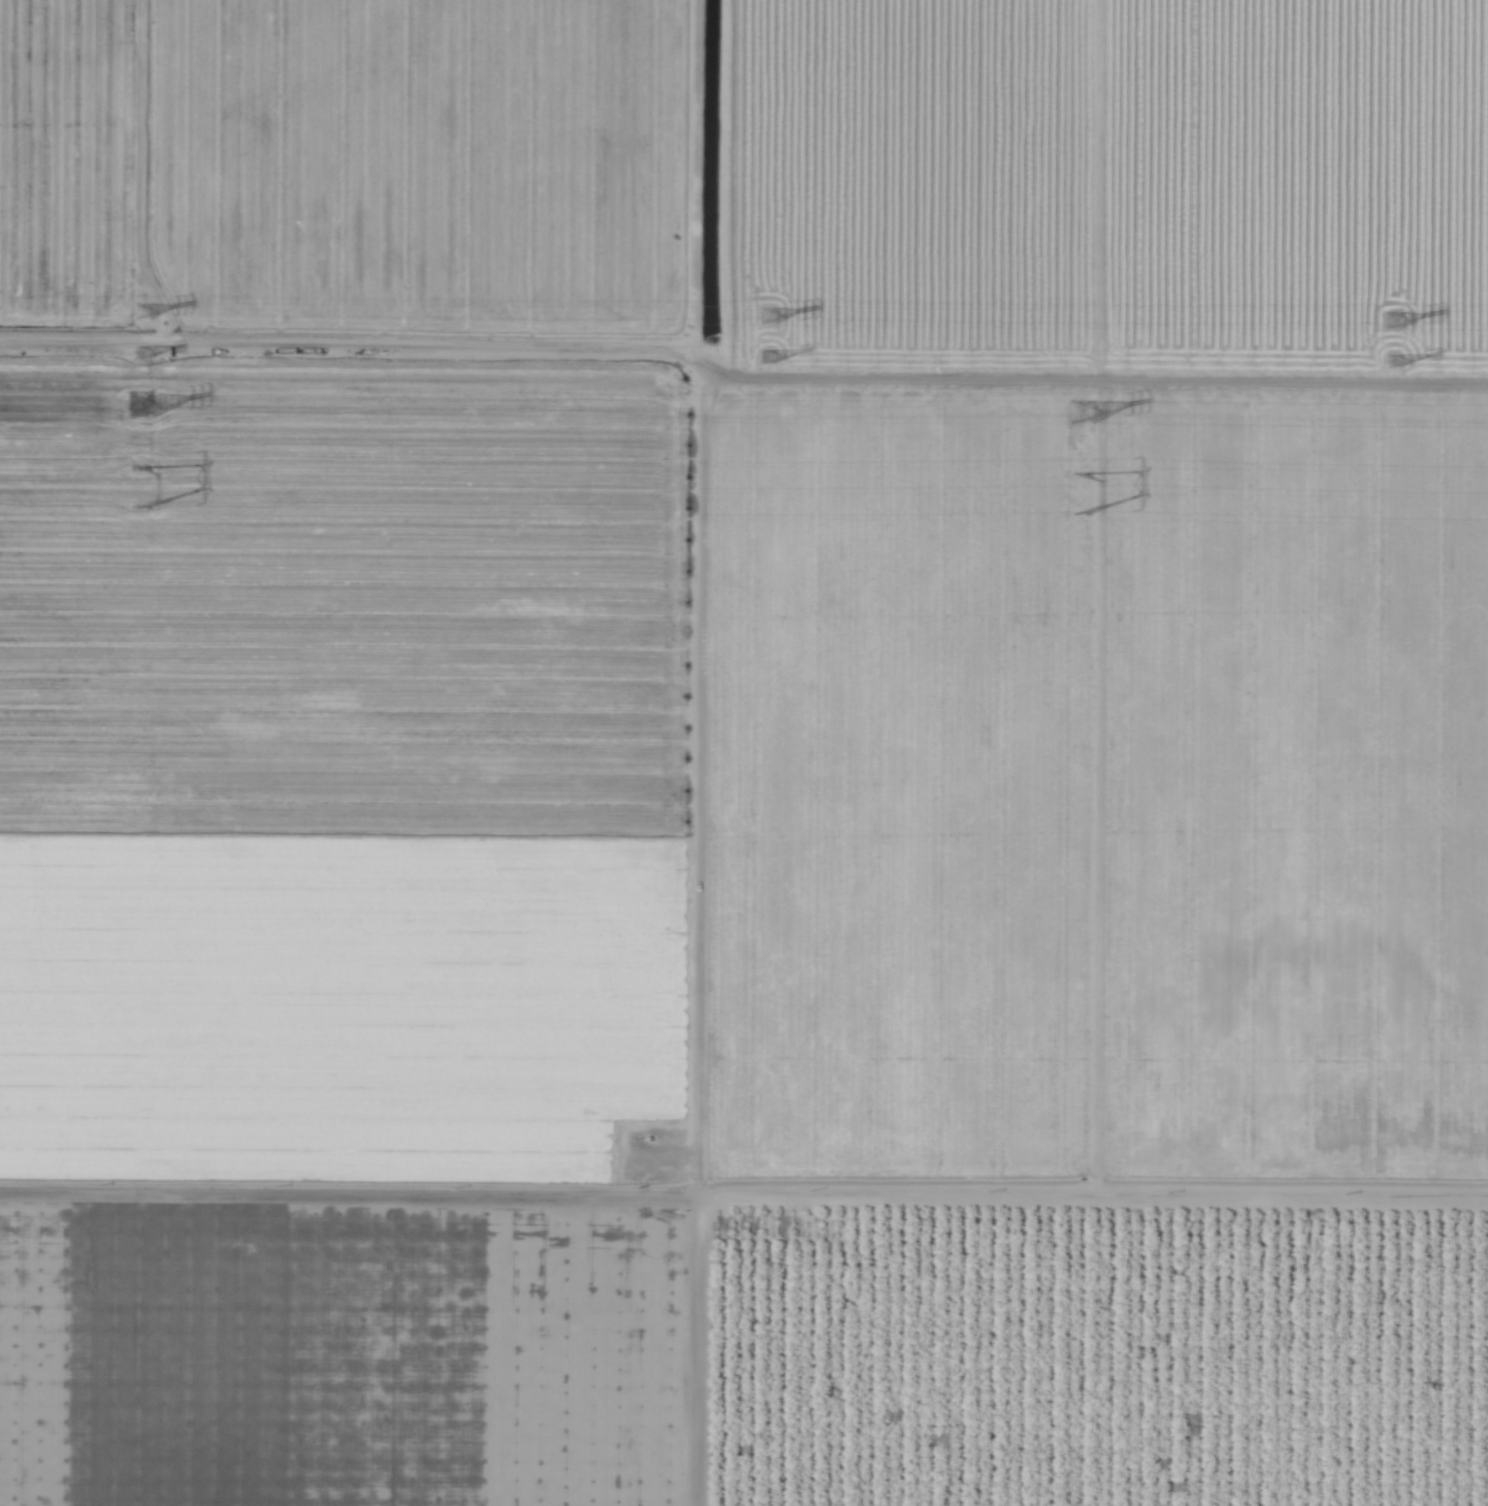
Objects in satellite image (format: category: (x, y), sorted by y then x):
power tower: (140, 313)
power tower: (764, 320)
power tower: (1394, 323)
power tower: (143, 355)
power tower: (767, 361)
power tower: (1398, 364)
power tower: (146, 408)
power tower: (1085, 414)
power tower: (149, 492)
power tower: (1086, 498)
road: (690, 597)
crop: (744, 753)
road: (743, 1195)

